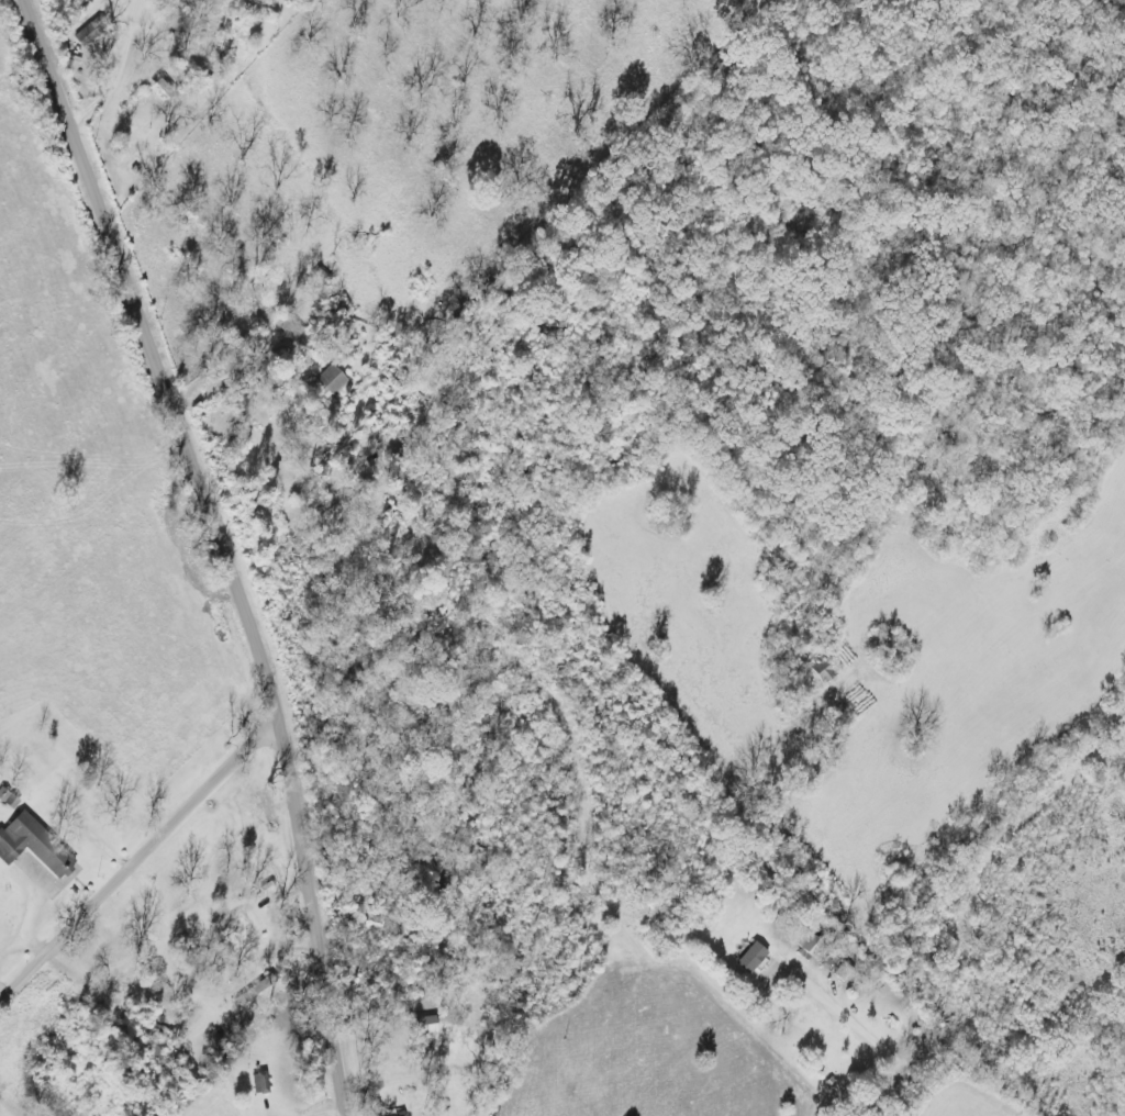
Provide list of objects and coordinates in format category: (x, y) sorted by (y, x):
building: (326, 382)
road: (227, 547)
building: (820, 674)
building: (26, 836)
road: (136, 860)
building: (748, 961)
building: (422, 1027)
road: (881, 1049)
building: (256, 1085)

